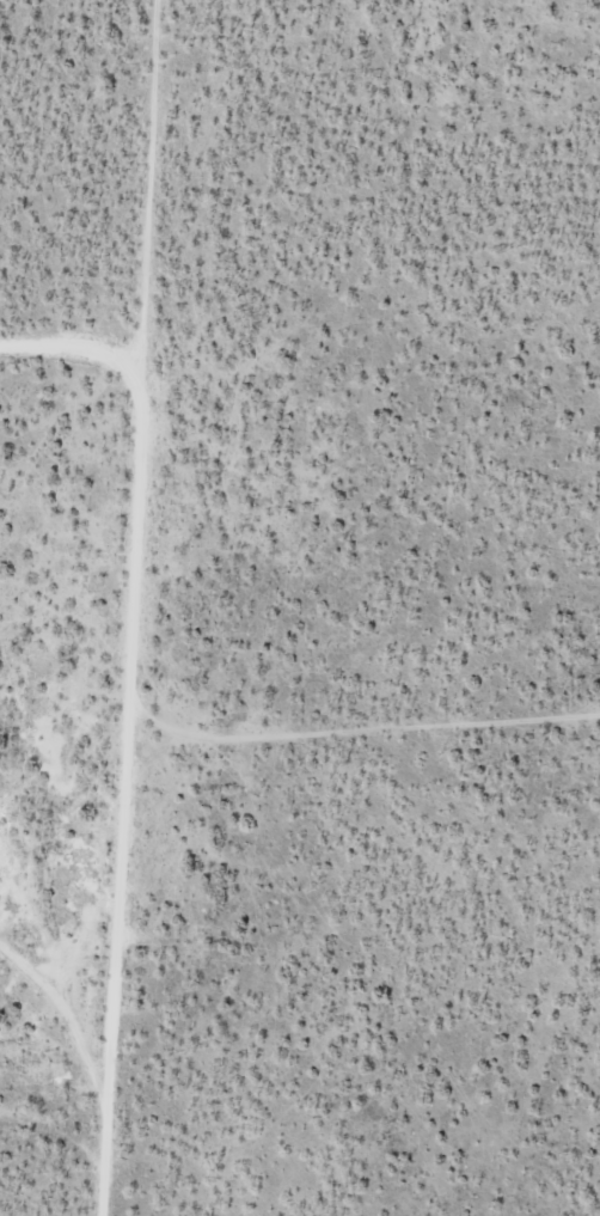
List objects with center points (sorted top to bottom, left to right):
road: (117, 607)

